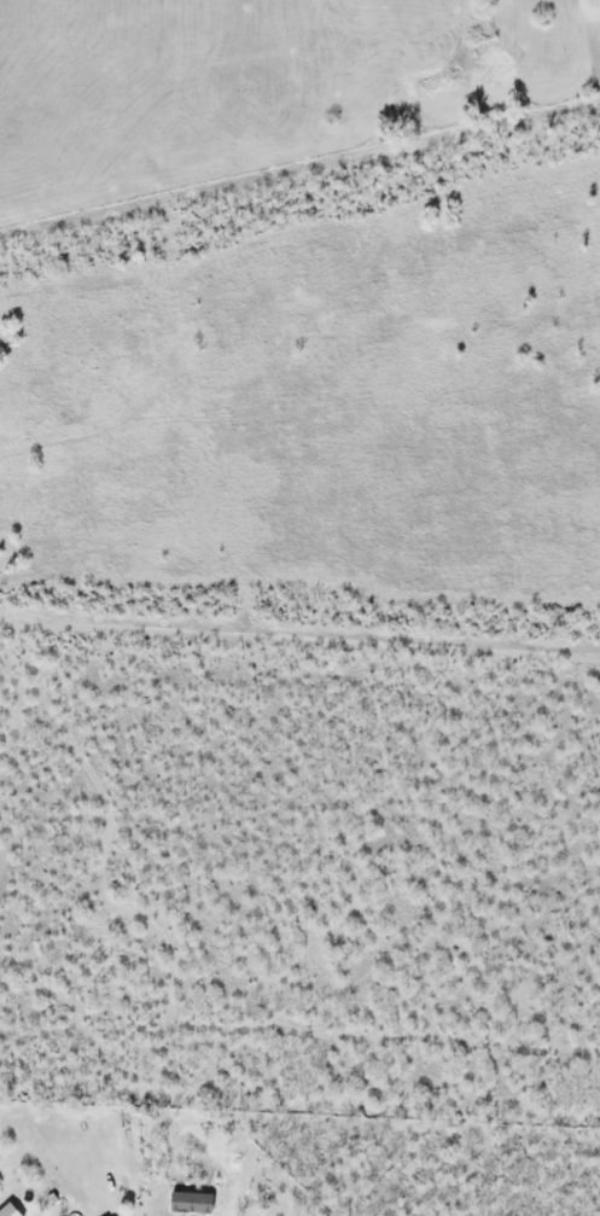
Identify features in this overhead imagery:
building: (188, 1128)
building: (6, 1210)

